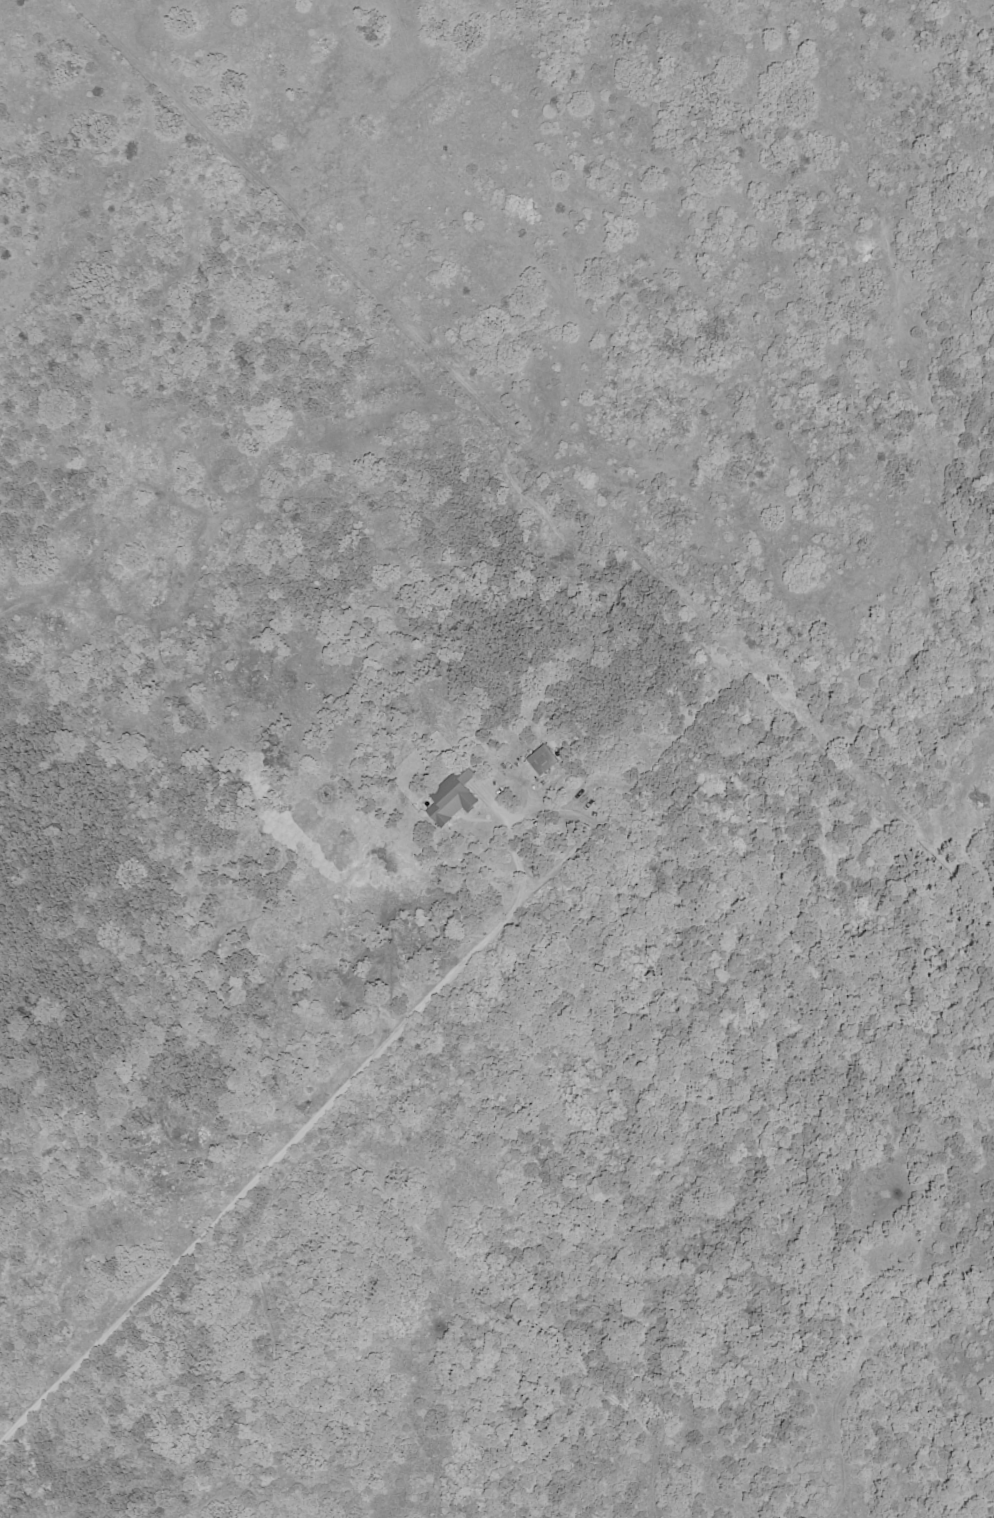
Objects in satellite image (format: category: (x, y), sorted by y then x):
building: (541, 760)
building: (452, 800)
road: (575, 811)
road: (507, 825)
road: (284, 1146)

